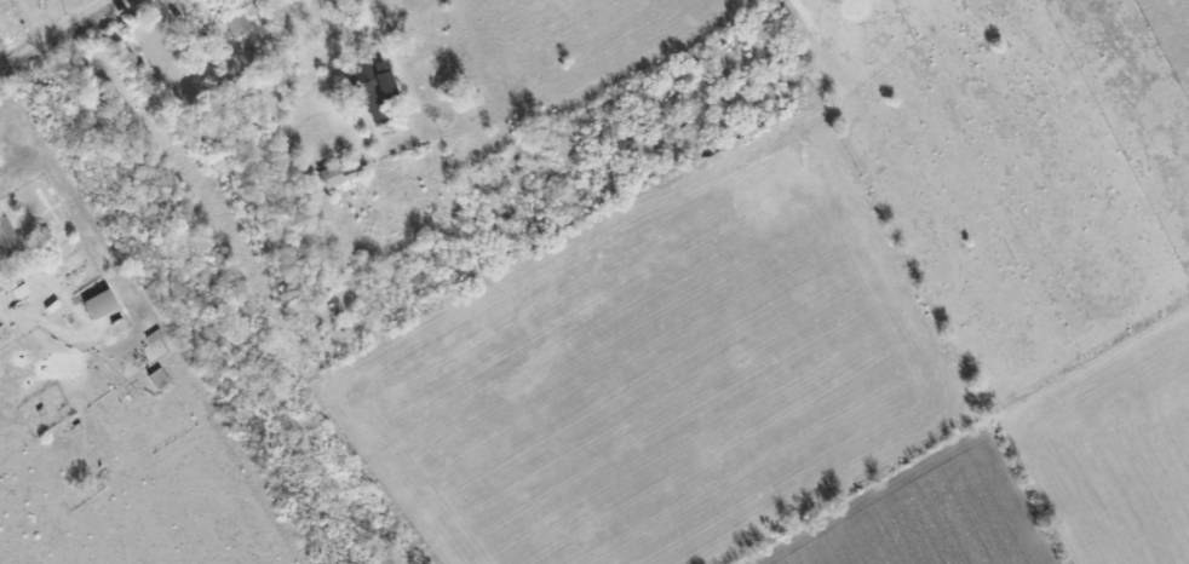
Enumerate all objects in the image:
building: (236, 16)
road: (63, 35)
road: (391, 62)
building: (6, 240)
building: (96, 304)

